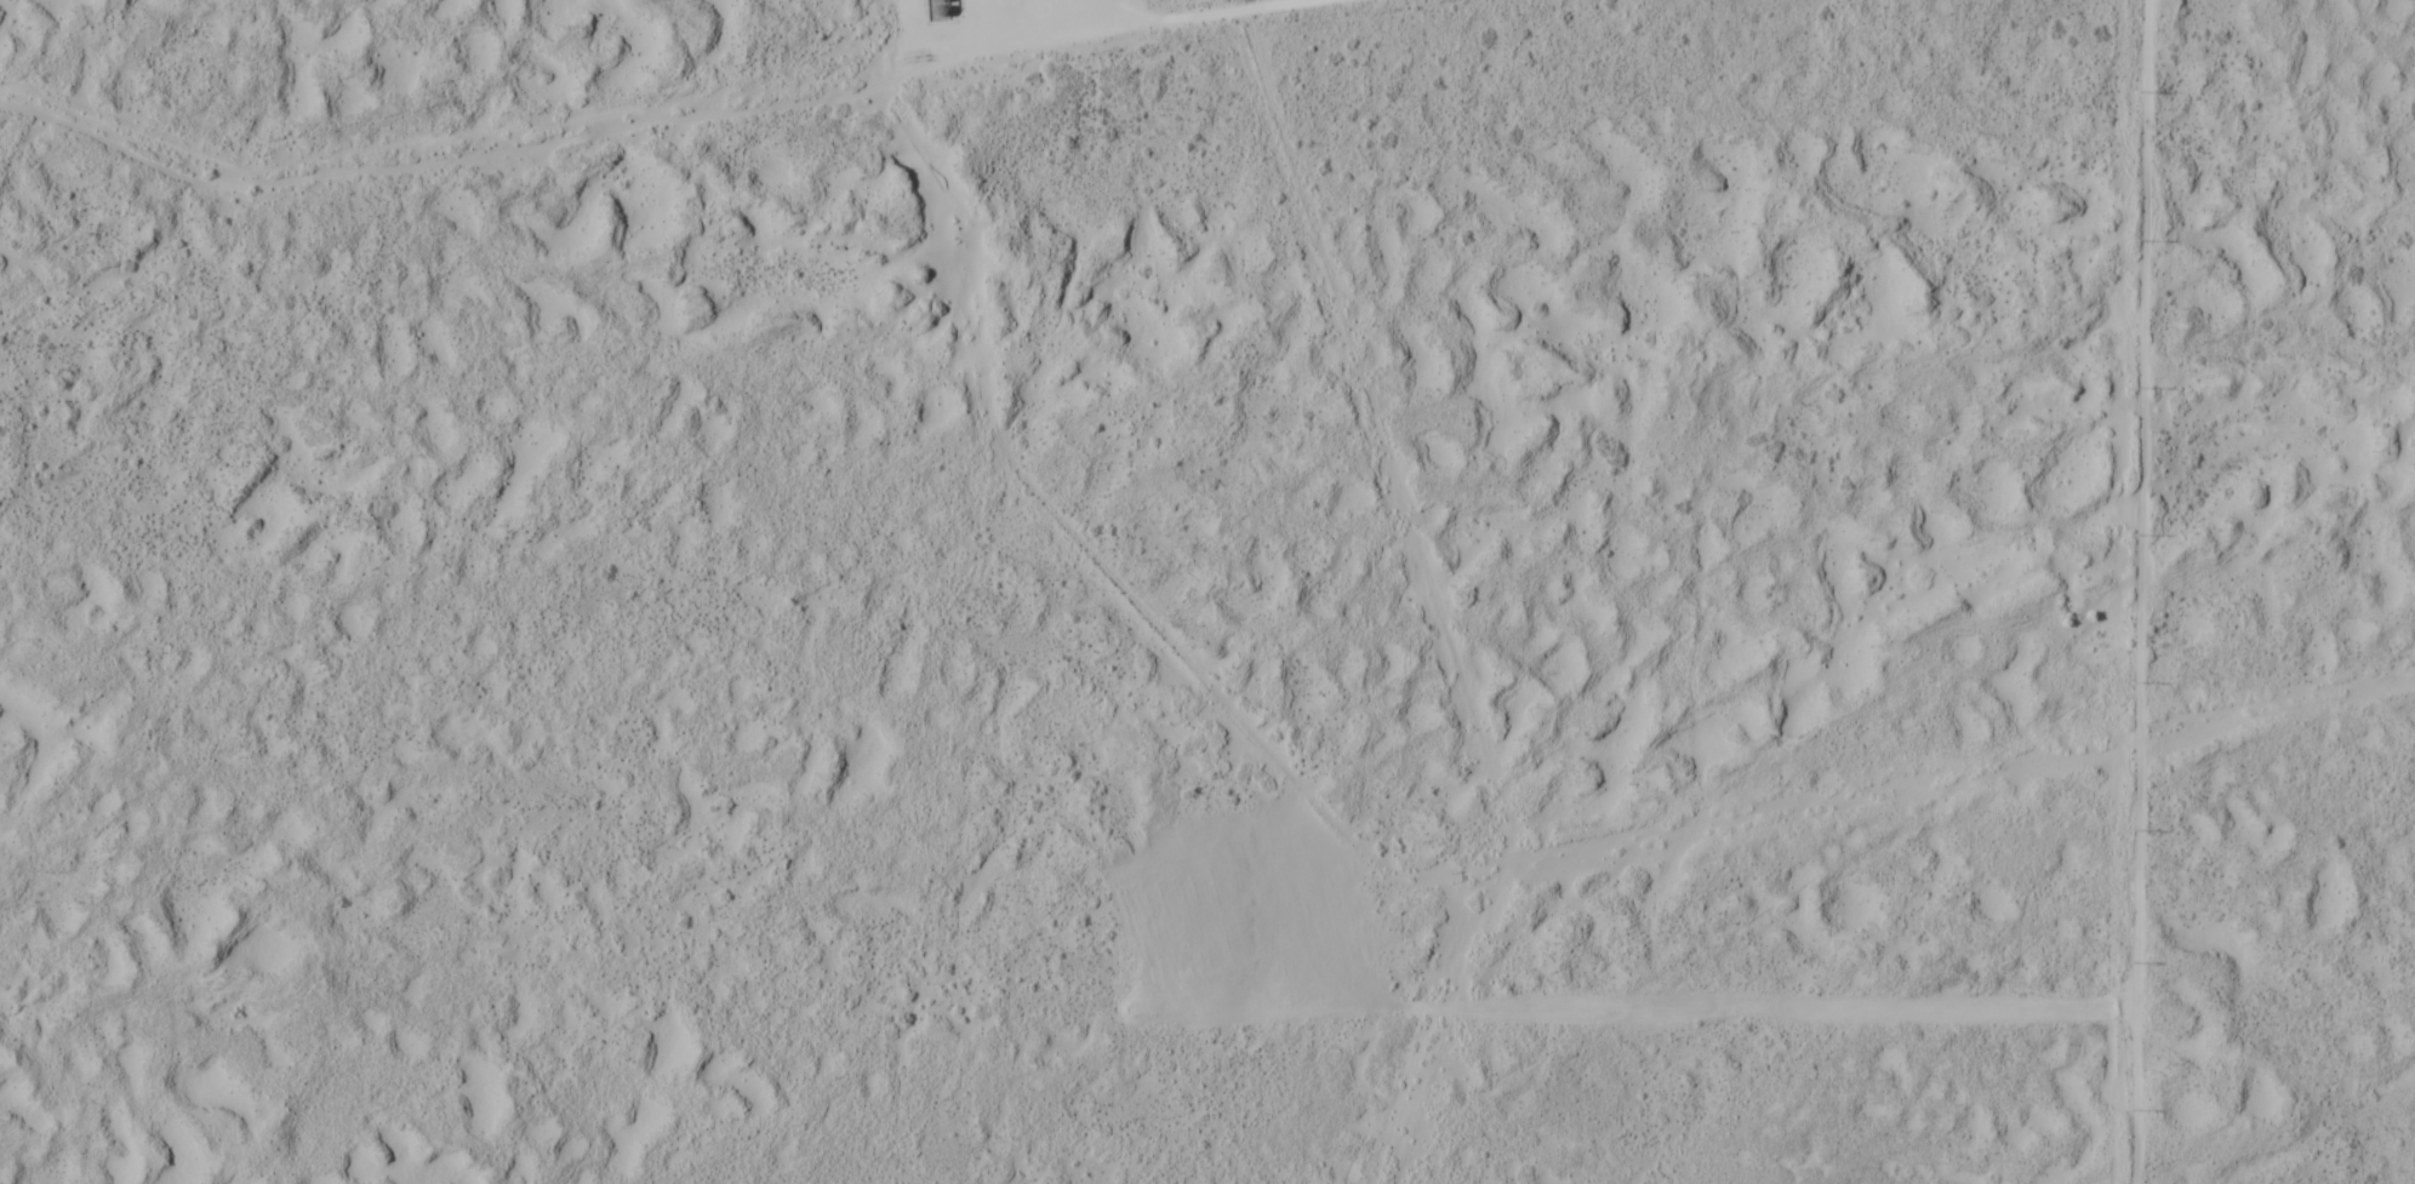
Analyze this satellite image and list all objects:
road: (1127, 21)
road: (2146, 591)
road: (1752, 1011)

